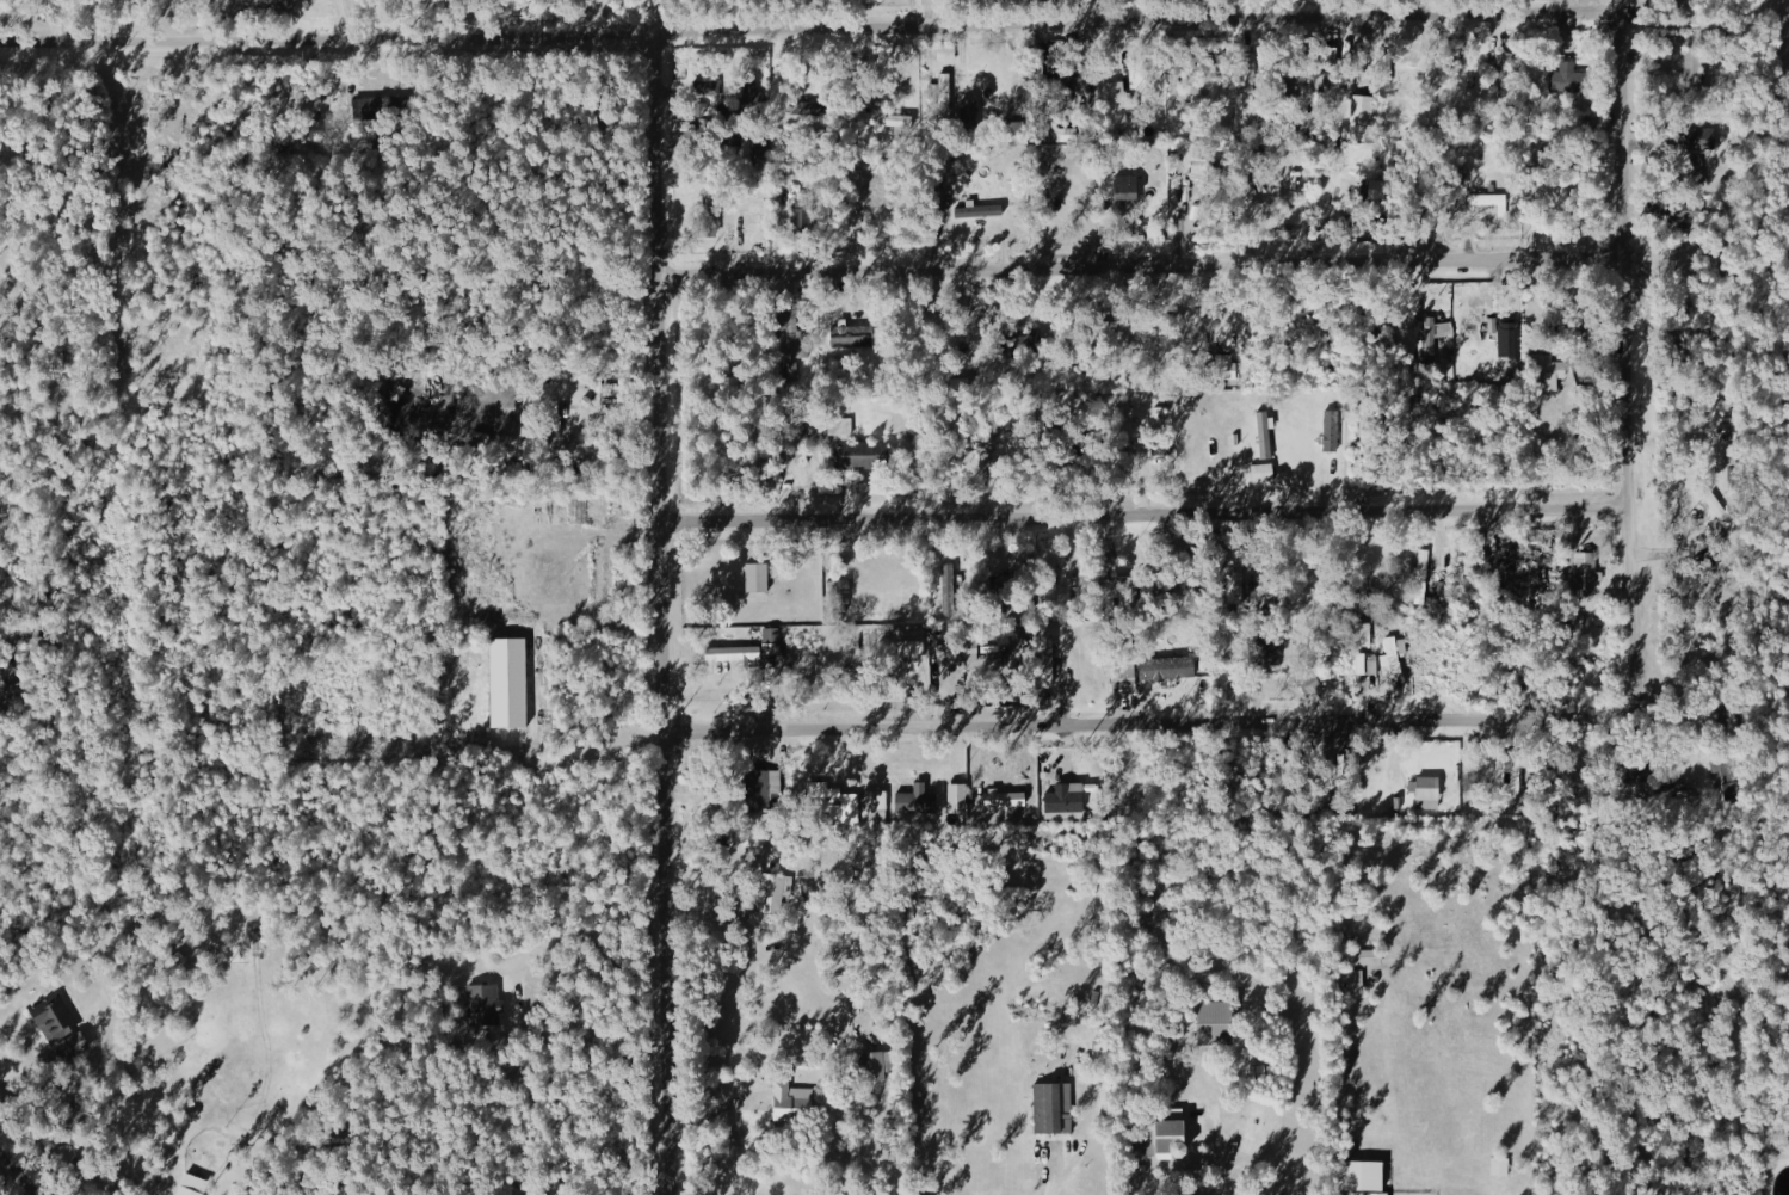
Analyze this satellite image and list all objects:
road: (1625, 7)
road: (1086, 12)
road: (925, 13)
road: (604, 14)
road: (652, 14)
road: (344, 16)
road: (56, 18)
road: (832, 26)
building: (946, 54)
building: (1685, 67)
road: (1019, 70)
building: (1569, 78)
building: (945, 81)
building: (708, 88)
building: (1118, 101)
building: (377, 105)
building: (815, 107)
building: (969, 107)
building: (1364, 109)
building: (880, 116)
building: (1691, 170)
building: (1189, 179)
building: (1128, 186)
building: (1380, 187)
building: (1492, 201)
building: (1670, 208)
building: (980, 210)
road: (1130, 258)
building: (853, 335)
building: (1433, 337)
building: (794, 349)
building: (1526, 356)
building: (730, 387)
building: (1124, 418)
building: (841, 424)
building: (1332, 429)
building: (1266, 433)
building: (985, 445)
building: (862, 452)
building: (1264, 472)
building: (576, 509)
road: (1140, 513)
building: (1580, 569)
building: (1518, 573)
building: (759, 574)
building: (1417, 575)
building: (839, 584)
building: (949, 587)
road: (649, 605)
road: (1, 633)
building: (771, 633)
building: (913, 646)
building: (1271, 647)
building: (951, 649)
building: (735, 651)
building: (1393, 655)
building: (1367, 663)
building: (10, 673)
building: (512, 680)
road: (1487, 719)
road: (1649, 753)
building: (1427, 790)
building: (958, 795)
building: (918, 799)
building: (1066, 800)
building: (878, 805)
building: (853, 807)
building: (776, 886)
building: (1364, 955)
building: (1355, 983)
building: (483, 1003)
building: (54, 1016)
building: (1220, 1020)
road: (13, 1062)
building: (880, 1062)
building: (794, 1101)
building: (1054, 1105)
road: (708, 1119)
building: (1166, 1135)
road: (1222, 1139)
building: (1367, 1174)
road: (13, 1178)
road: (1056, 1181)
building: (193, 1184)
building: (1380, 1193)

